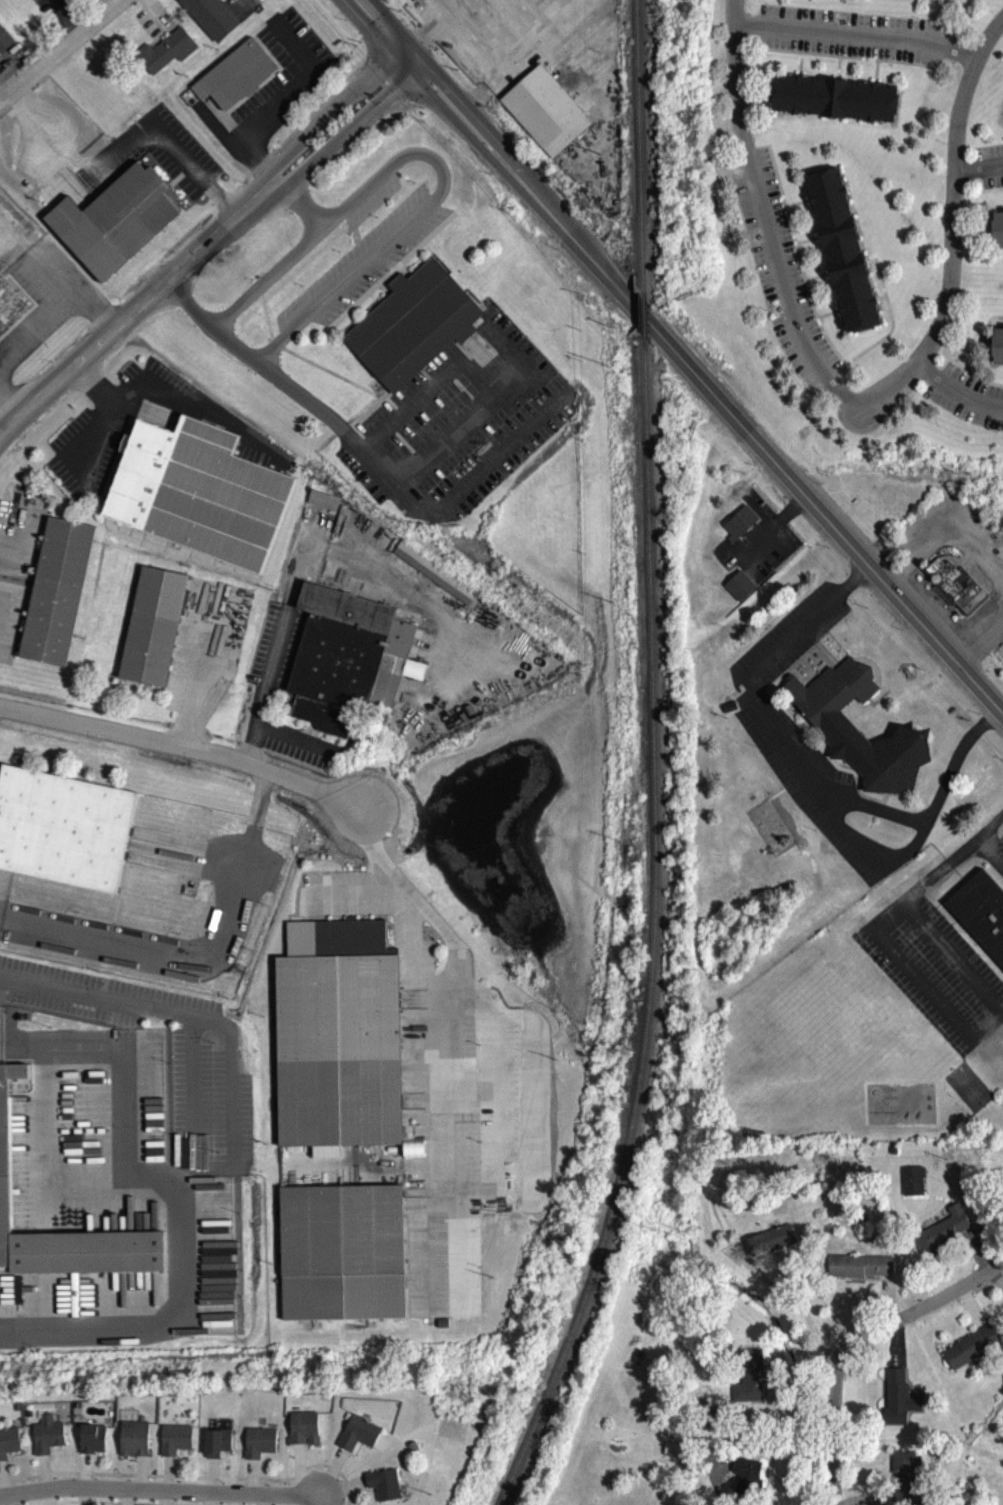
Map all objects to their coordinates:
building: (421, 0)
building: (551, 0)
building: (415, 1)
building: (208, 19)
road: (381, 29)
road: (856, 33)
building: (4, 44)
road: (66, 50)
building: (164, 55)
building: (233, 79)
building: (836, 101)
building: (544, 115)
road: (47, 136)
road: (168, 138)
railway: (640, 141)
parking lot: (154, 153)
road: (500, 160)
road: (979, 166)
road: (432, 199)
road: (763, 217)
building: (118, 218)
building: (998, 229)
road: (954, 234)
road: (204, 245)
building: (843, 250)
parking lot: (364, 260)
road: (36, 264)
road: (275, 270)
building: (10, 310)
railway: (644, 316)
road: (94, 317)
building: (415, 322)
road: (37, 338)
building: (998, 348)
road: (957, 391)
road: (9, 409)
parking lot: (460, 422)
road: (367, 454)
road: (798, 487)
building: (200, 490)
building: (321, 504)
road: (945, 525)
building: (738, 526)
building: (432, 577)
building: (58, 589)
building: (738, 590)
building: (954, 590)
building: (154, 624)
road: (980, 644)
parking lot: (206, 647)
building: (346, 662)
building: (826, 722)
road: (181, 744)
parking lot: (780, 749)
road: (800, 773)
road: (257, 794)
building: (64, 825)
road: (984, 848)
building: (980, 918)
railway: (652, 940)
road: (171, 947)
road: (879, 951)
road: (951, 963)
parking lot: (932, 975)
road: (458, 999)
road: (166, 1003)
building: (340, 1037)
parking lot: (443, 1086)
park: (966, 1093)
building: (5, 1145)
building: (412, 1152)
building: (911, 1185)
road: (172, 1190)
building: (942, 1234)
building: (770, 1244)
building: (343, 1250)
building: (860, 1269)
road: (794, 1302)
road: (857, 1350)
building: (970, 1351)
building: (748, 1381)
building: (899, 1401)
building: (302, 1432)
building: (357, 1438)
building: (46, 1439)
building: (133, 1442)
building: (91, 1443)
building: (174, 1443)
building: (8, 1446)
building: (258, 1446)
building: (215, 1447)
building: (905, 1473)
road: (186, 1480)
building: (744, 1480)
road: (159, 1487)
building: (382, 1488)
road: (314, 1500)
road: (318, 1500)

